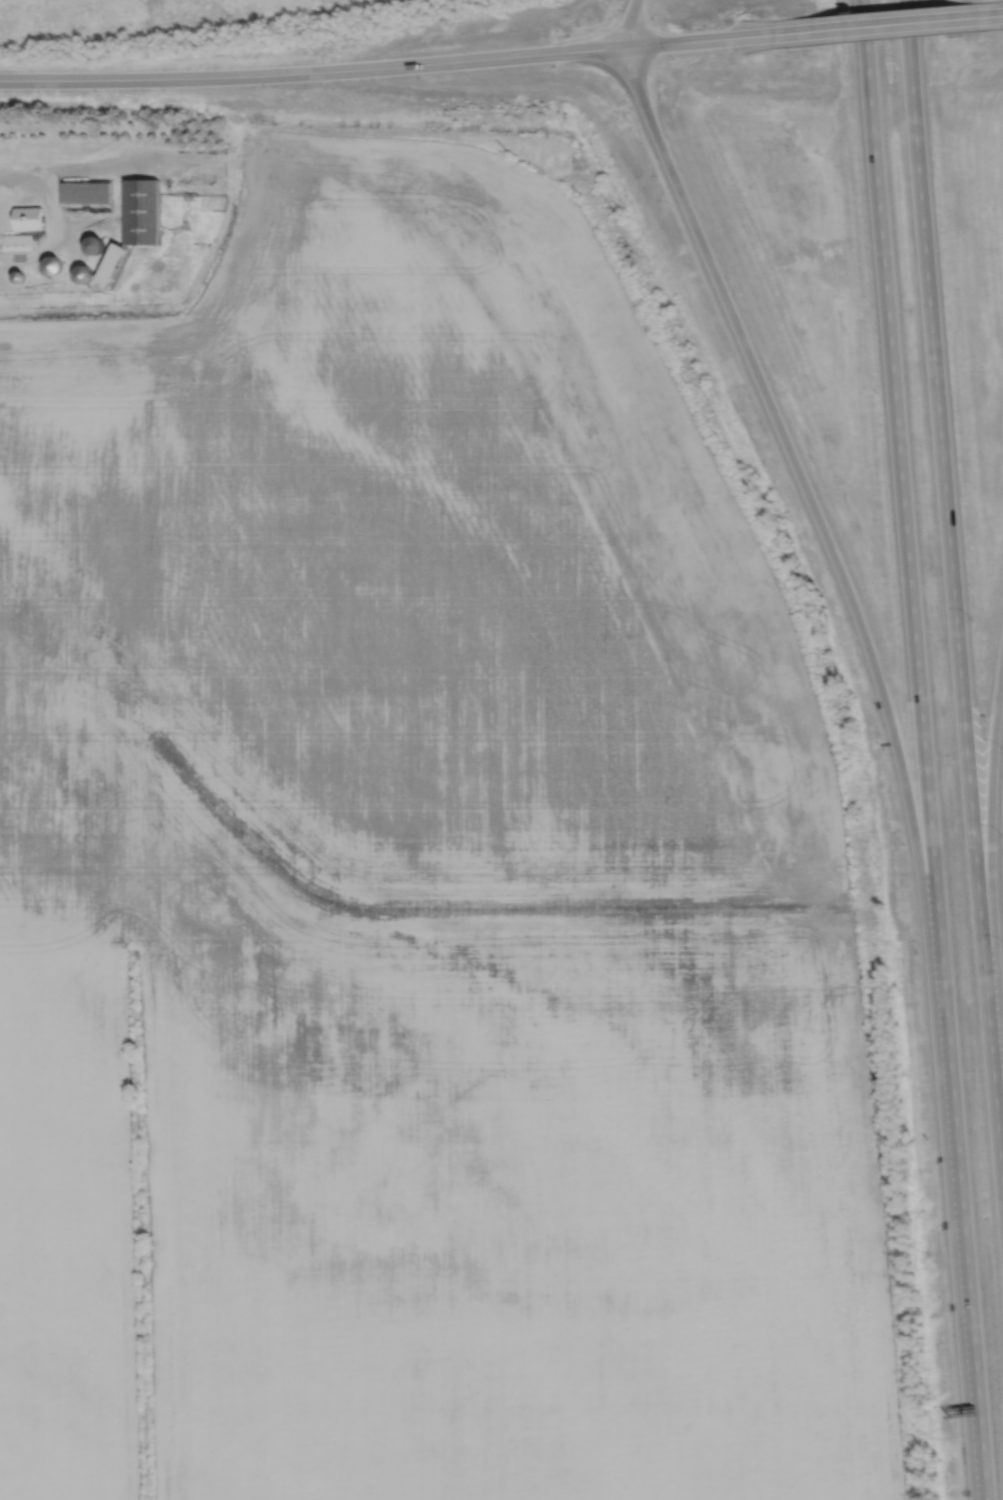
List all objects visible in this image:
road: (995, 15)
road: (886, 24)
road: (393, 65)
road: (111, 164)
building: (86, 192)
building: (141, 212)
road: (55, 214)
building: (28, 218)
building: (17, 242)
building: (93, 244)
building: (113, 263)
building: (52, 264)
building: (83, 273)
building: (17, 275)
road: (847, 589)
road: (953, 594)
road: (922, 721)
road: (991, 851)
crop: (418, 891)
road: (980, 1471)
road: (984, 1471)

